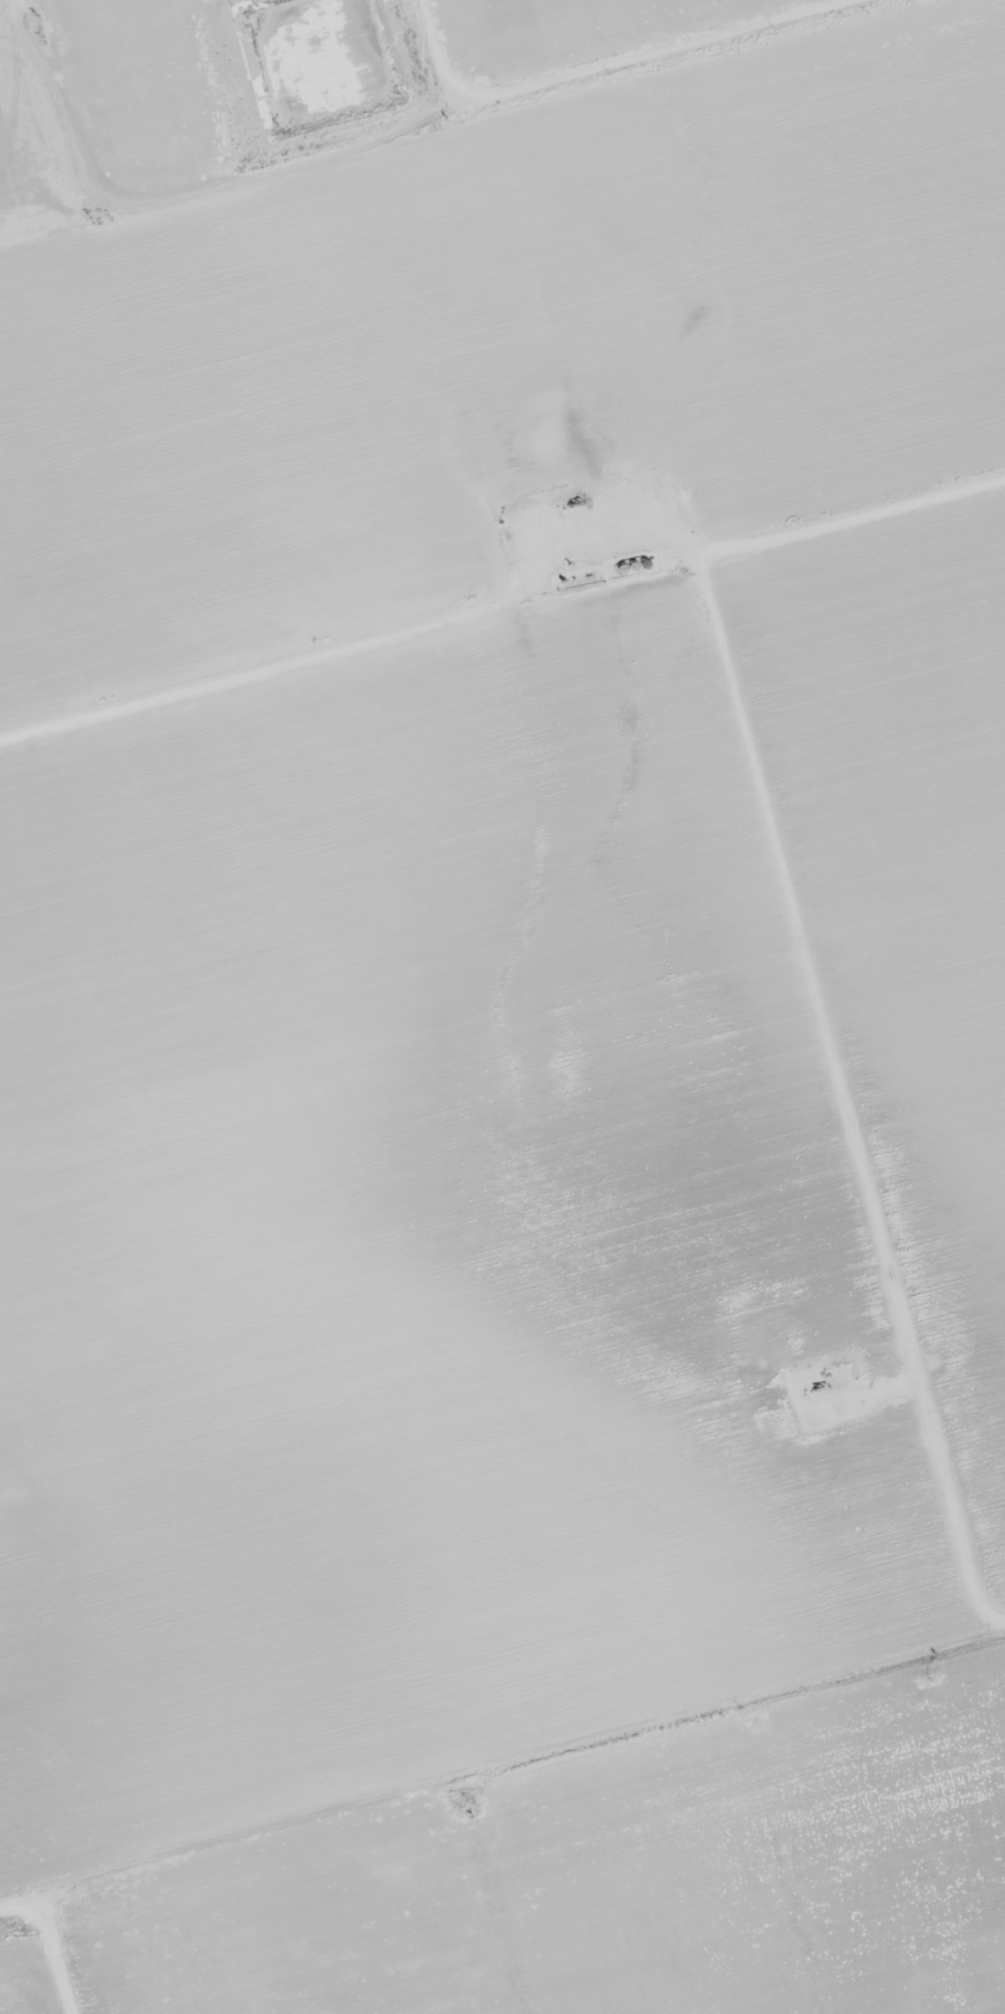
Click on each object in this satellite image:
road: (432, 121)
road: (13, 182)
road: (501, 602)
road: (215, 1878)

